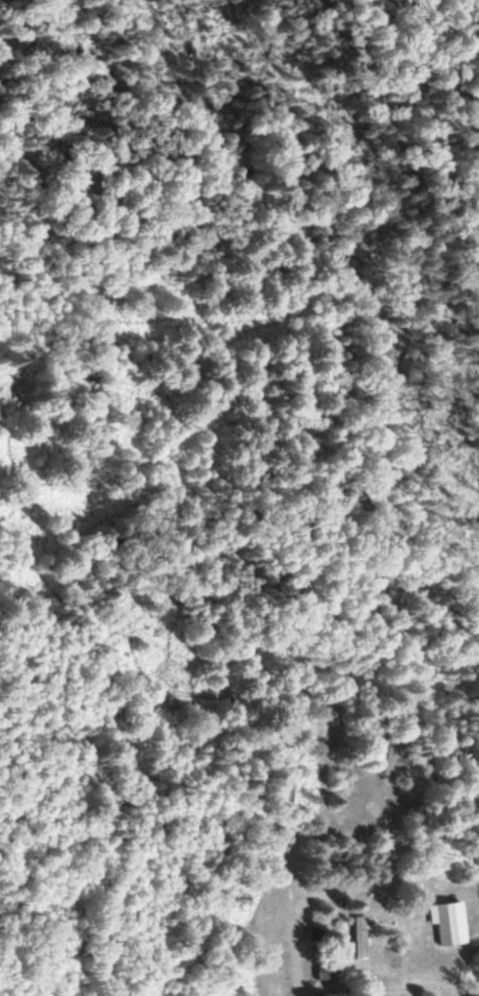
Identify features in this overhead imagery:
road: (289, 440)
building: (386, 754)
building: (363, 938)
road: (297, 948)
building: (328, 973)

